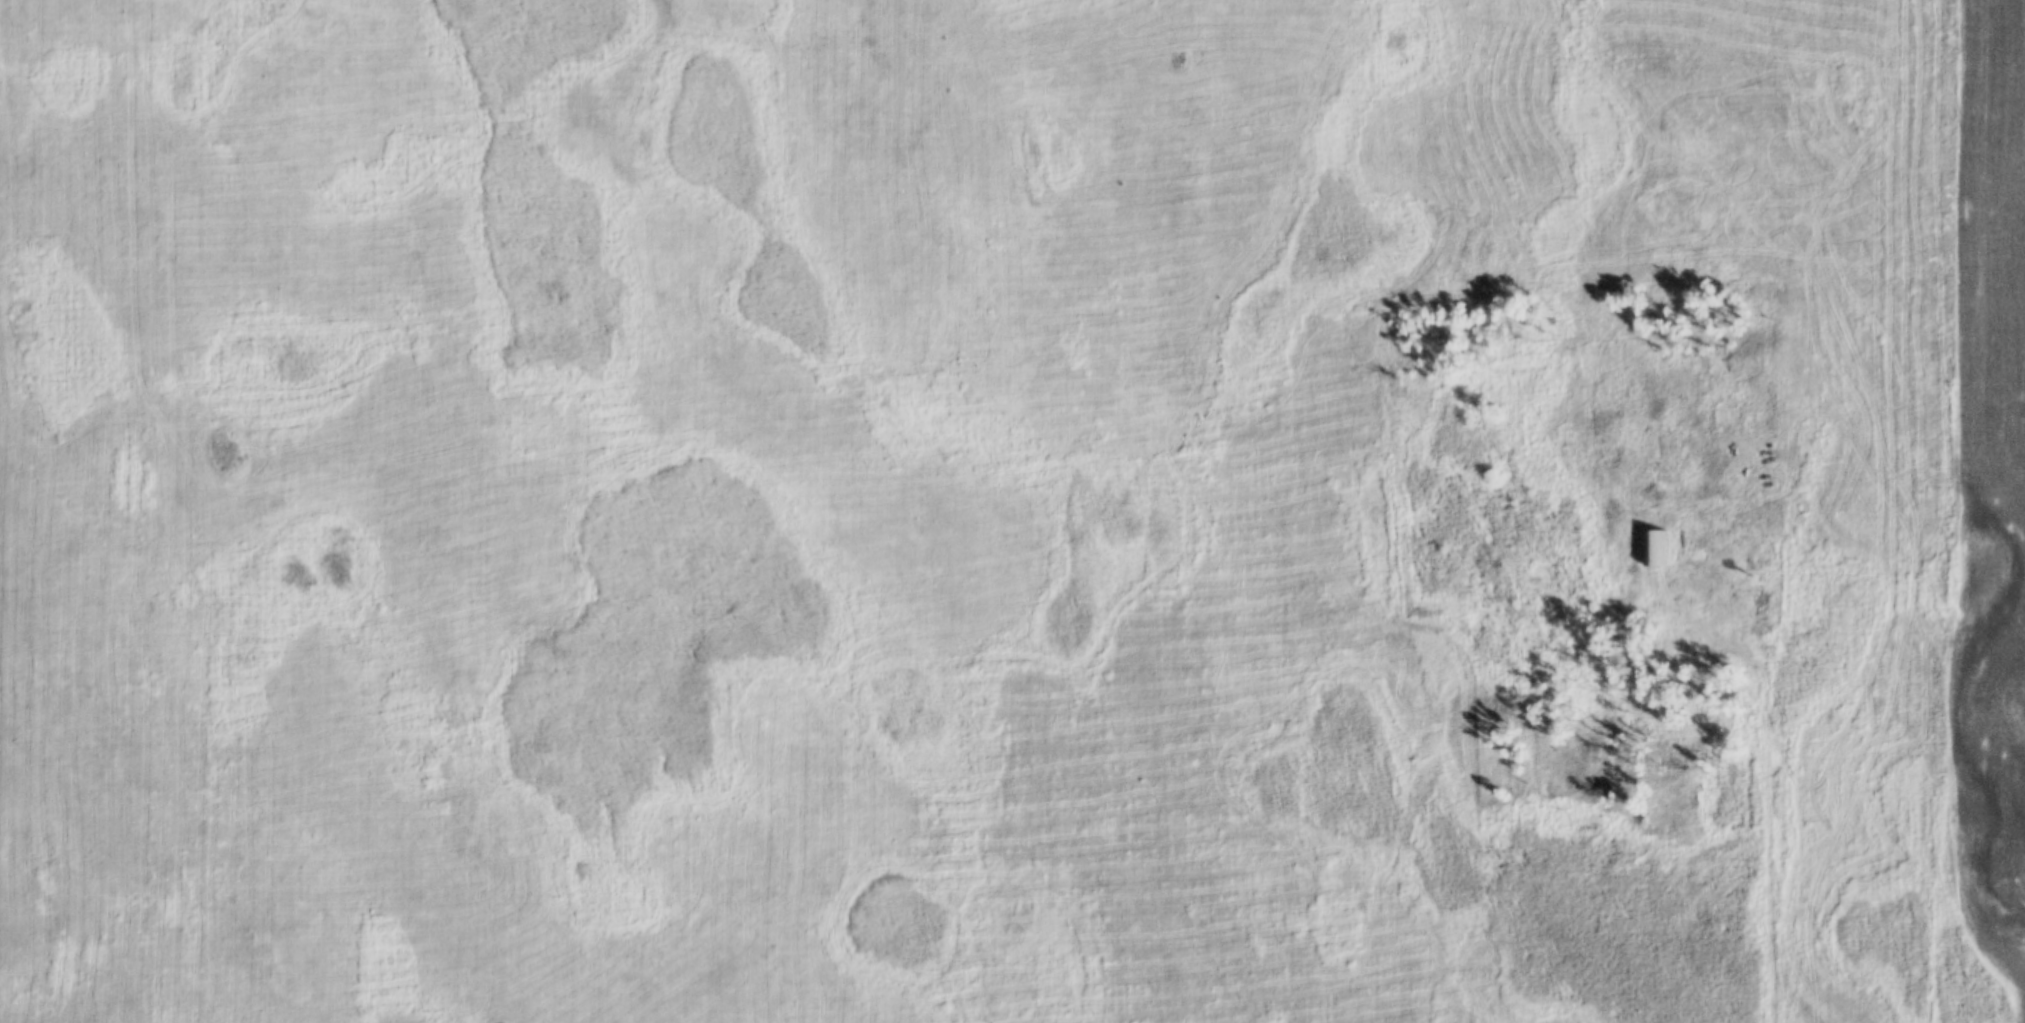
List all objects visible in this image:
building: (1655, 547)

